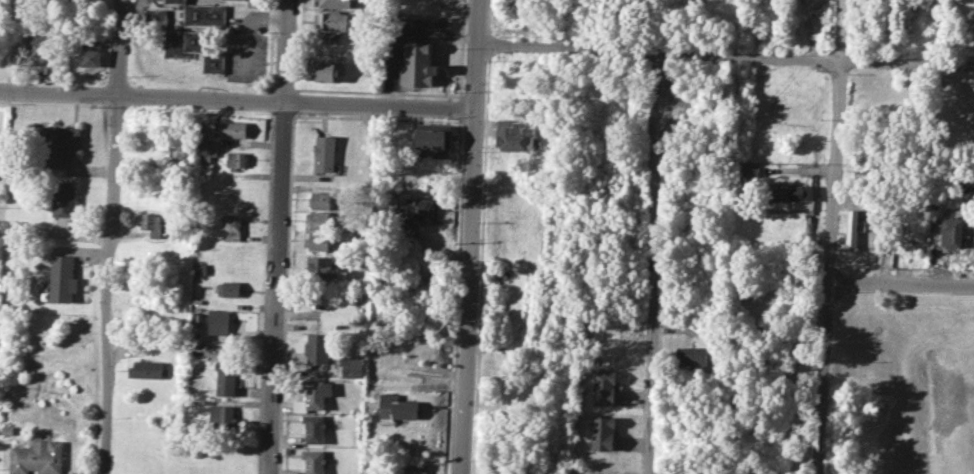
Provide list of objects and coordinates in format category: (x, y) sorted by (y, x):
building: (71, 0)
building: (175, 0)
building: (330, 4)
building: (205, 14)
road: (133, 16)
building: (154, 19)
building: (330, 21)
building: (511, 23)
road: (246, 28)
building: (182, 43)
park: (4, 44)
parking lot: (247, 47)
building: (39, 49)
building: (91, 52)
road: (725, 54)
building: (214, 62)
building: (417, 64)
building: (326, 71)
building: (793, 89)
building: (508, 93)
road: (237, 98)
building: (232, 128)
building: (516, 135)
building: (965, 135)
building: (434, 136)
building: (54, 145)
building: (206, 152)
building: (325, 152)
building: (236, 159)
building: (752, 170)
building: (867, 174)
building: (965, 181)
building: (788, 192)
building: (64, 198)
building: (320, 199)
building: (418, 207)
building: (318, 219)
building: (151, 222)
building: (232, 227)
building: (851, 227)
building: (952, 232)
road: (109, 236)
road: (278, 236)
road: (469, 236)
road: (830, 237)
building: (317, 240)
building: (909, 242)
road: (653, 263)
building: (319, 266)
building: (201, 268)
building: (62, 277)
road: (901, 283)
building: (232, 288)
building: (220, 321)
building: (317, 347)
building: (692, 356)
building: (354, 367)
building: (147, 368)
building: (228, 377)
park: (901, 384)
building: (603, 387)
building: (313, 396)
park: (942, 398)
building: (396, 408)
building: (224, 415)
building: (315, 427)
building: (8, 429)
building: (601, 432)
building: (37, 457)
building: (315, 460)
building: (416, 469)

